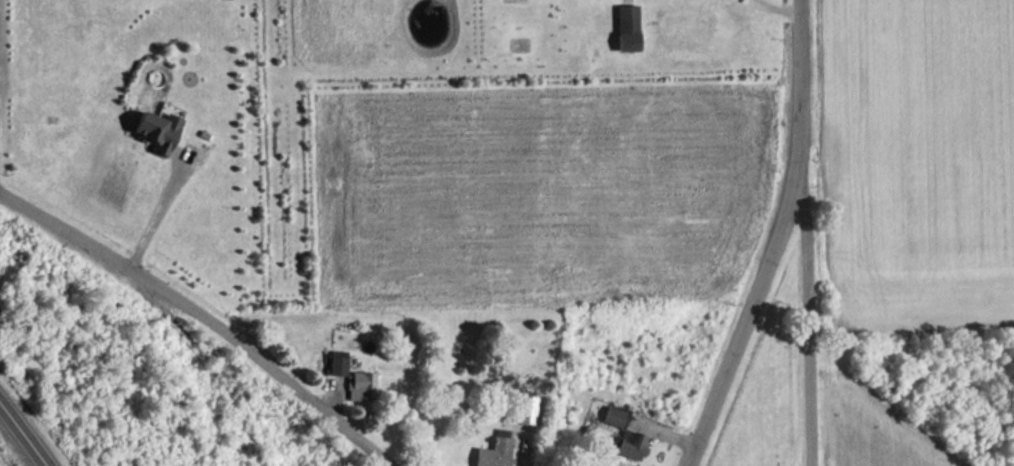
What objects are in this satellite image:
road: (775, 8)
building: (625, 29)
building: (156, 131)
road: (155, 207)
road: (772, 239)
road: (207, 315)
road: (805, 321)
building: (331, 363)
building: (357, 387)
park: (762, 394)
building: (519, 410)
building: (608, 417)
road: (24, 434)
building: (625, 445)
building: (486, 453)
building: (601, 461)

